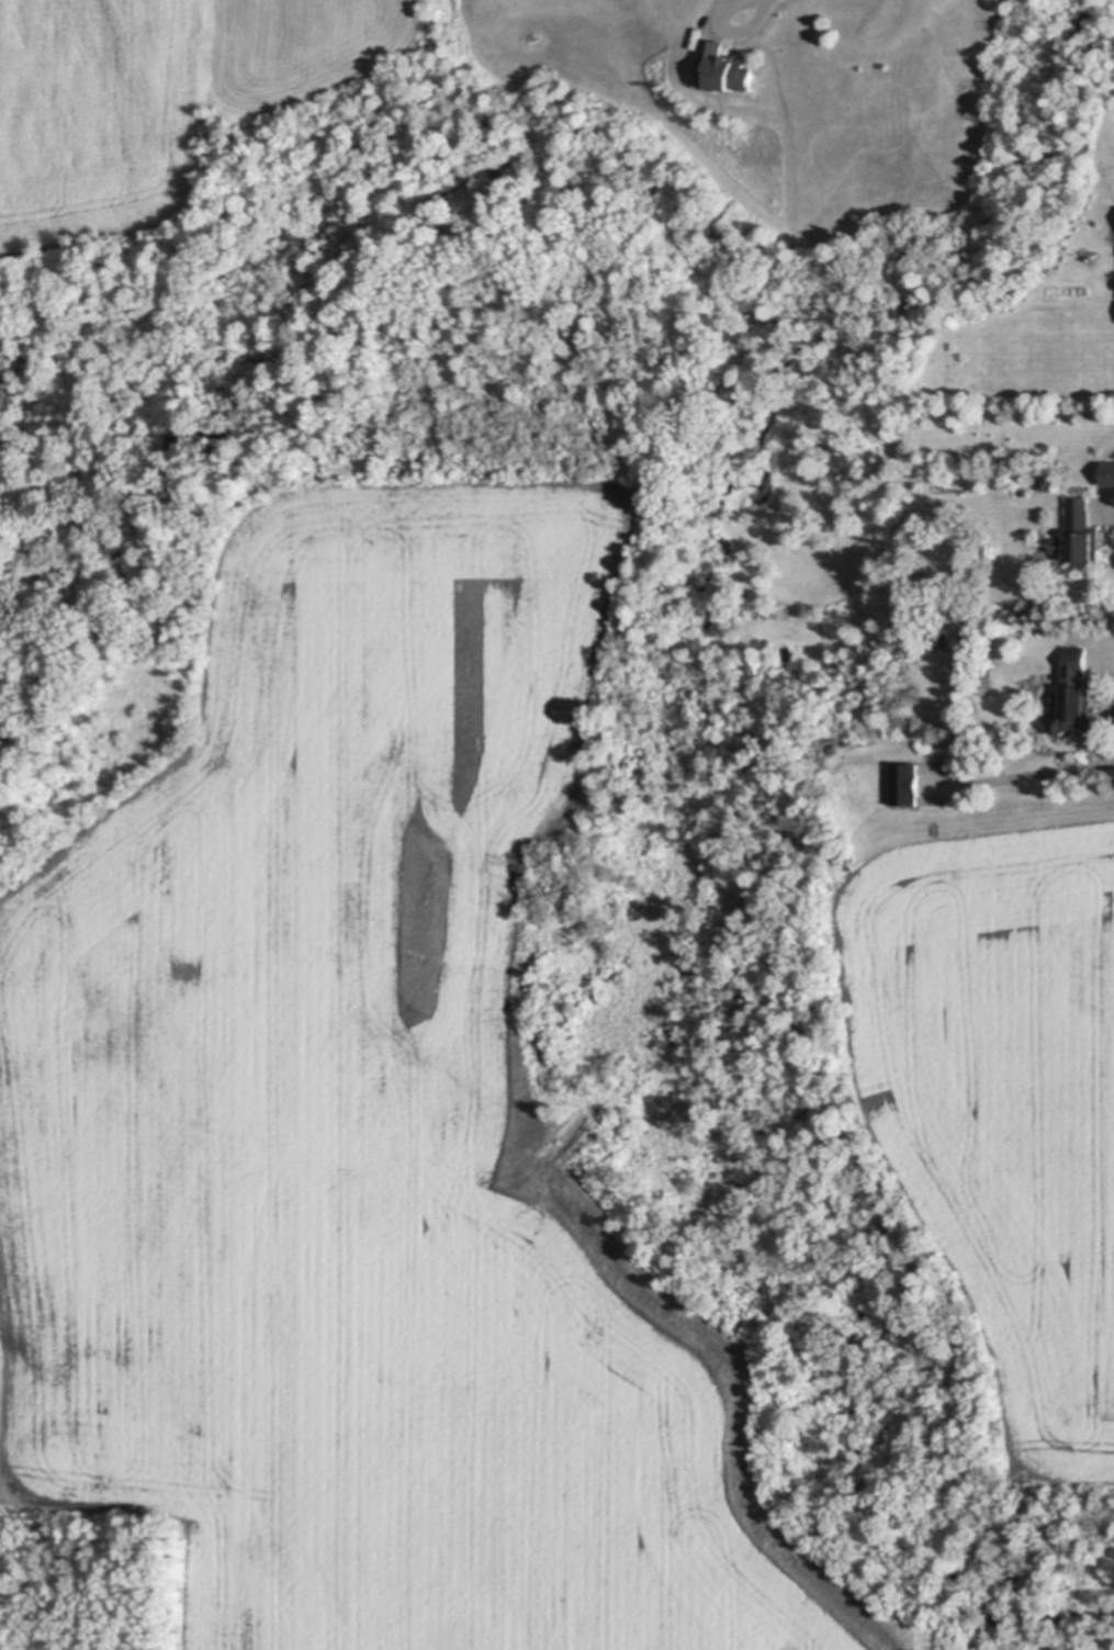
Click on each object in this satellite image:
road: (764, 9)
building: (725, 67)
building: (569, 349)
building: (2, 396)
building: (1107, 481)
road: (1113, 514)
building: (1080, 535)
building: (1076, 696)
building: (907, 786)

